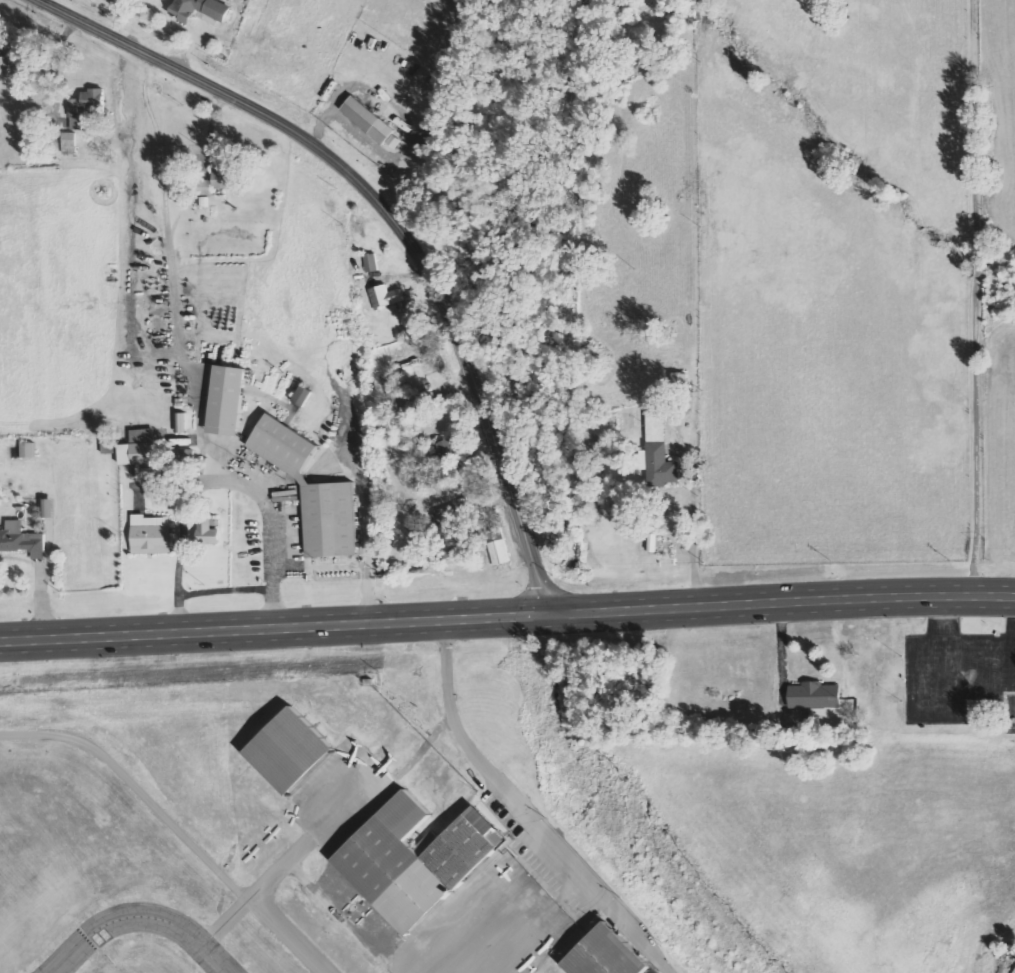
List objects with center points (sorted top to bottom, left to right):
building: (201, 9)
building: (12, 61)
building: (86, 106)
building: (368, 120)
building: (394, 141)
building: (223, 178)
building: (206, 188)
road: (404, 222)
building: (372, 263)
building: (386, 297)
building: (396, 392)
building: (303, 397)
building: (227, 401)
building: (182, 423)
building: (140, 449)
building: (29, 450)
building: (448, 450)
building: (660, 451)
road: (217, 479)
building: (312, 491)
building: (448, 513)
building: (208, 532)
building: (151, 536)
building: (22, 541)
building: (498, 547)
road: (507, 615)
building: (815, 696)
airport hangar: (292, 748)
building: (292, 748)
airport apron: (344, 794)
road: (526, 810)
airport: (483, 836)
airport hangar: (467, 846)
building: (467, 846)
airport taxiway: (297, 852)
airport hangar: (397, 862)
building: (397, 862)
airport taxiway: (140, 916)
airport apron: (488, 925)
airport taxiway: (204, 939)
airport taxiway: (486, 940)
airport taxiway: (209, 947)
airport hangar: (606, 955)
building: (606, 955)
airport apron: (650, 971)

